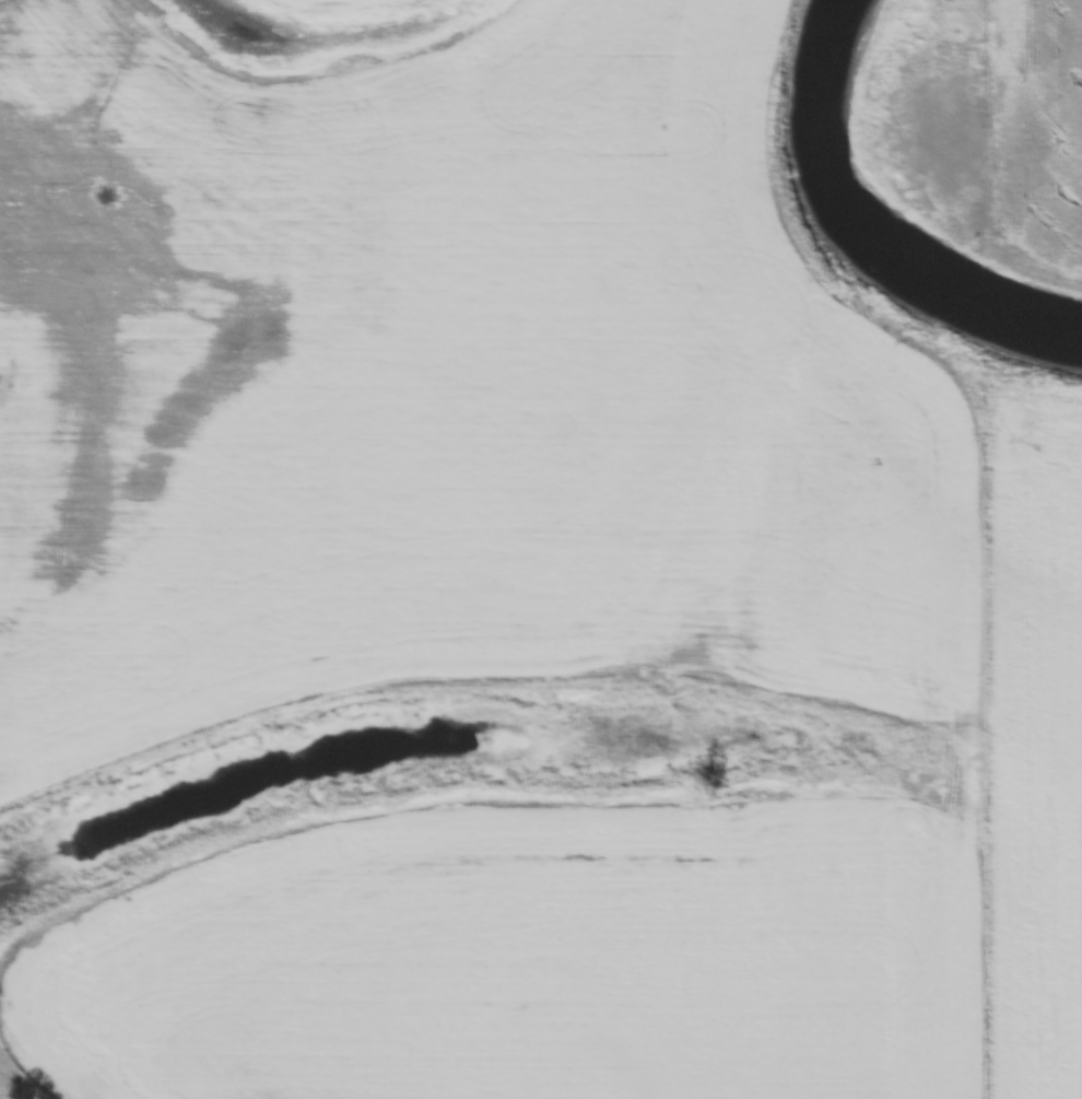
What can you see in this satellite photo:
river: (865, 233)

